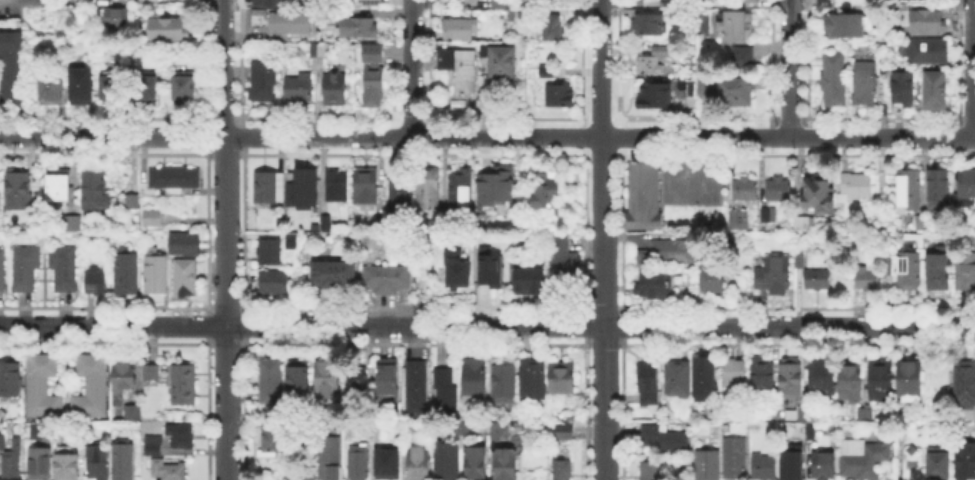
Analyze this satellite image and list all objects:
building: (750, 1)
building: (274, 2)
building: (369, 2)
building: (827, 3)
building: (501, 4)
building: (116, 17)
building: (928, 22)
building: (842, 23)
building: (292, 24)
building: (349, 25)
building: (703, 25)
building: (651, 26)
building: (169, 27)
building: (738, 27)
building: (462, 29)
building: (554, 29)
building: (320, 51)
building: (928, 51)
building: (740, 59)
building: (500, 60)
building: (653, 61)
building: (10, 67)
road: (969, 67)
road: (411, 68)
road: (789, 68)
building: (461, 69)
building: (548, 71)
building: (370, 74)
building: (265, 79)
building: (835, 82)
building: (866, 84)
building: (703, 85)
building: (83, 87)
building: (115, 87)
building: (147, 88)
building: (186, 88)
building: (300, 89)
building: (735, 89)
building: (52, 90)
building: (336, 90)
building: (692, 90)
building: (904, 90)
building: (935, 90)
building: (561, 96)
building: (657, 96)
road: (487, 136)
building: (176, 179)
building: (56, 183)
building: (967, 184)
building: (336, 186)
building: (856, 186)
building: (940, 186)
building: (270, 187)
building: (497, 187)
building: (93, 188)
building: (367, 188)
building: (430, 188)
building: (19, 190)
building: (461, 190)
building: (746, 190)
building: (911, 190)
building: (546, 191)
building: (780, 191)
building: (820, 195)
building: (400, 197)
building: (645, 197)
building: (129, 200)
building: (311, 201)
building: (769, 216)
building: (153, 218)
building: (740, 220)
building: (71, 221)
building: (327, 224)
building: (804, 225)
road: (225, 239)
road: (603, 239)
building: (292, 241)
building: (186, 243)
building: (270, 252)
building: (670, 254)
building: (28, 260)
building: (800, 262)
building: (563, 265)
building: (888, 266)
building: (3, 270)
building: (911, 271)
building: (939, 271)
building: (458, 272)
building: (157, 273)
building: (498, 273)
building: (967, 273)
building: (127, 274)
building: (330, 275)
building: (775, 275)
building: (869, 277)
building: (187, 278)
building: (528, 280)
building: (819, 280)
building: (387, 281)
building: (274, 283)
building: (714, 283)
building: (97, 284)
building: (656, 285)
road: (487, 325)
building: (148, 370)
building: (735, 373)
building: (125, 376)
building: (299, 377)
building: (563, 377)
building: (532, 378)
building: (706, 378)
building: (822, 378)
building: (10, 379)
building: (791, 379)
building: (328, 380)
building: (679, 380)
building: (763, 380)
building: (911, 380)
building: (272, 381)
building: (388, 381)
building: (474, 382)
building: (180, 383)
building: (504, 383)
building: (649, 383)
building: (852, 383)
building: (882, 383)
building: (965, 384)
building: (358, 385)
building: (44, 386)
building: (91, 388)
building: (417, 390)
building: (446, 394)
building: (807, 412)
building: (132, 415)
building: (866, 415)
building: (462, 429)
building: (378, 430)
building: (808, 430)
building: (37, 431)
building: (413, 431)
building: (500, 432)
building: (565, 433)
building: (181, 438)
building: (273, 441)
building: (665, 441)
building: (3, 443)
building: (736, 458)
building: (330, 459)
building: (861, 459)
building: (966, 460)
building: (447, 461)
building: (13, 462)
building: (124, 462)
building: (99, 463)
building: (164, 463)
building: (360, 463)
building: (789, 463)
building: (506, 464)
building: (820, 464)
building: (940, 464)
building: (41, 465)
building: (389, 465)
building: (420, 465)
building: (476, 465)
building: (761, 465)
building: (709, 466)
building: (69, 467)
building: (563, 470)
building: (650, 472)
building: (308, 477)

